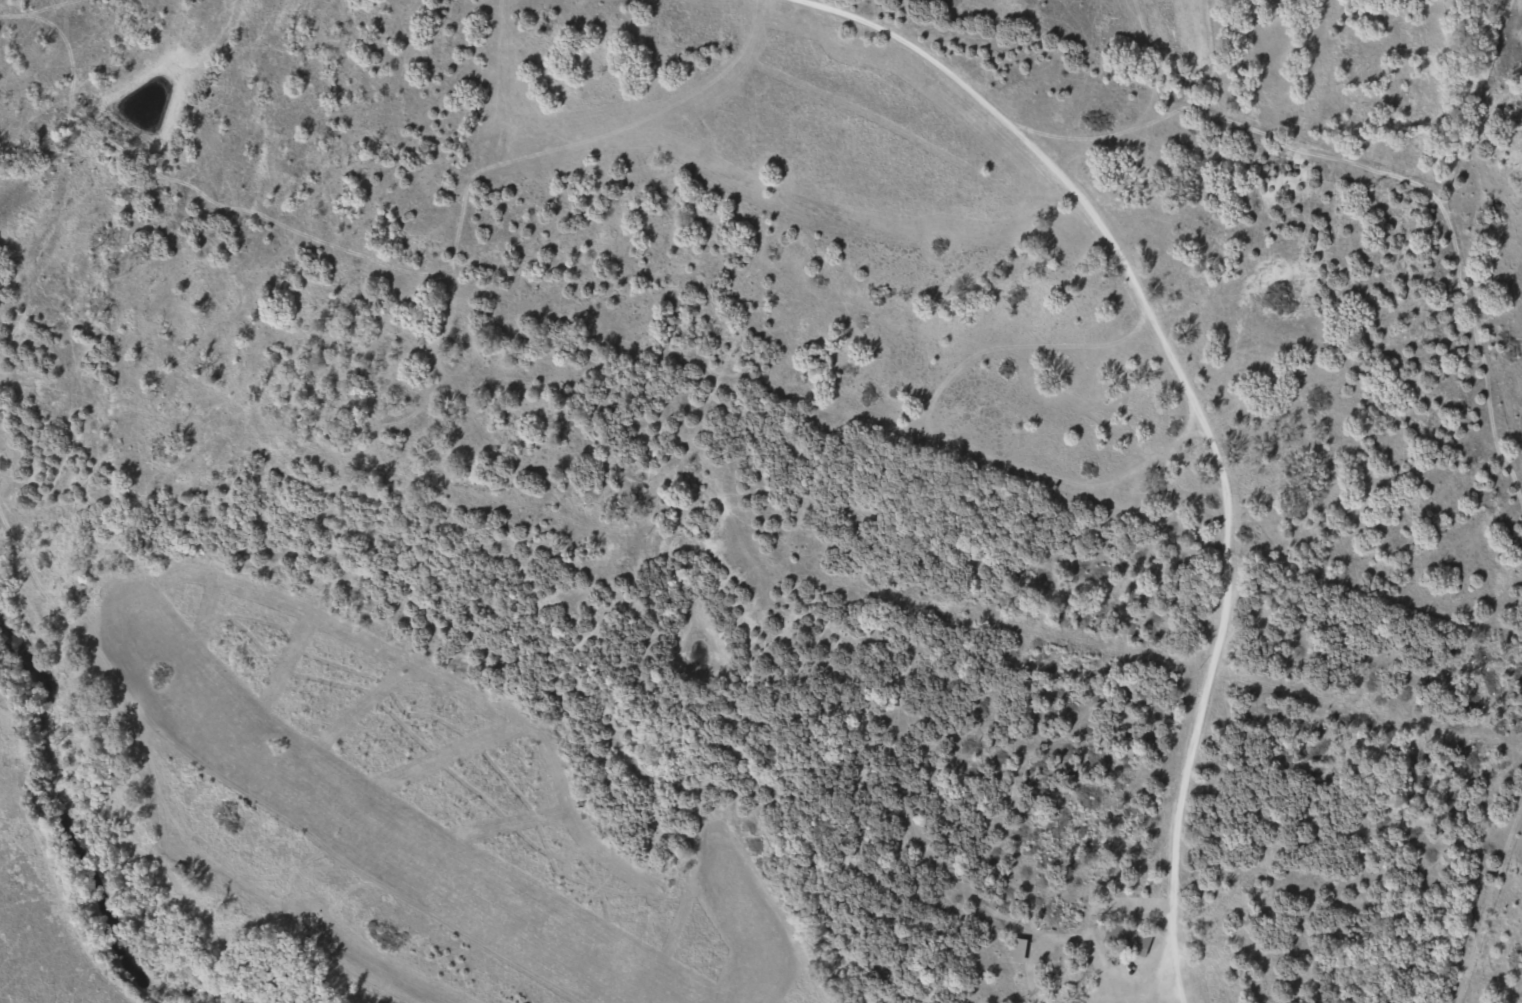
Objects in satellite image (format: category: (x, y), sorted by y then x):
road: (636, 548)
building: (1129, 935)
building: (1020, 948)

